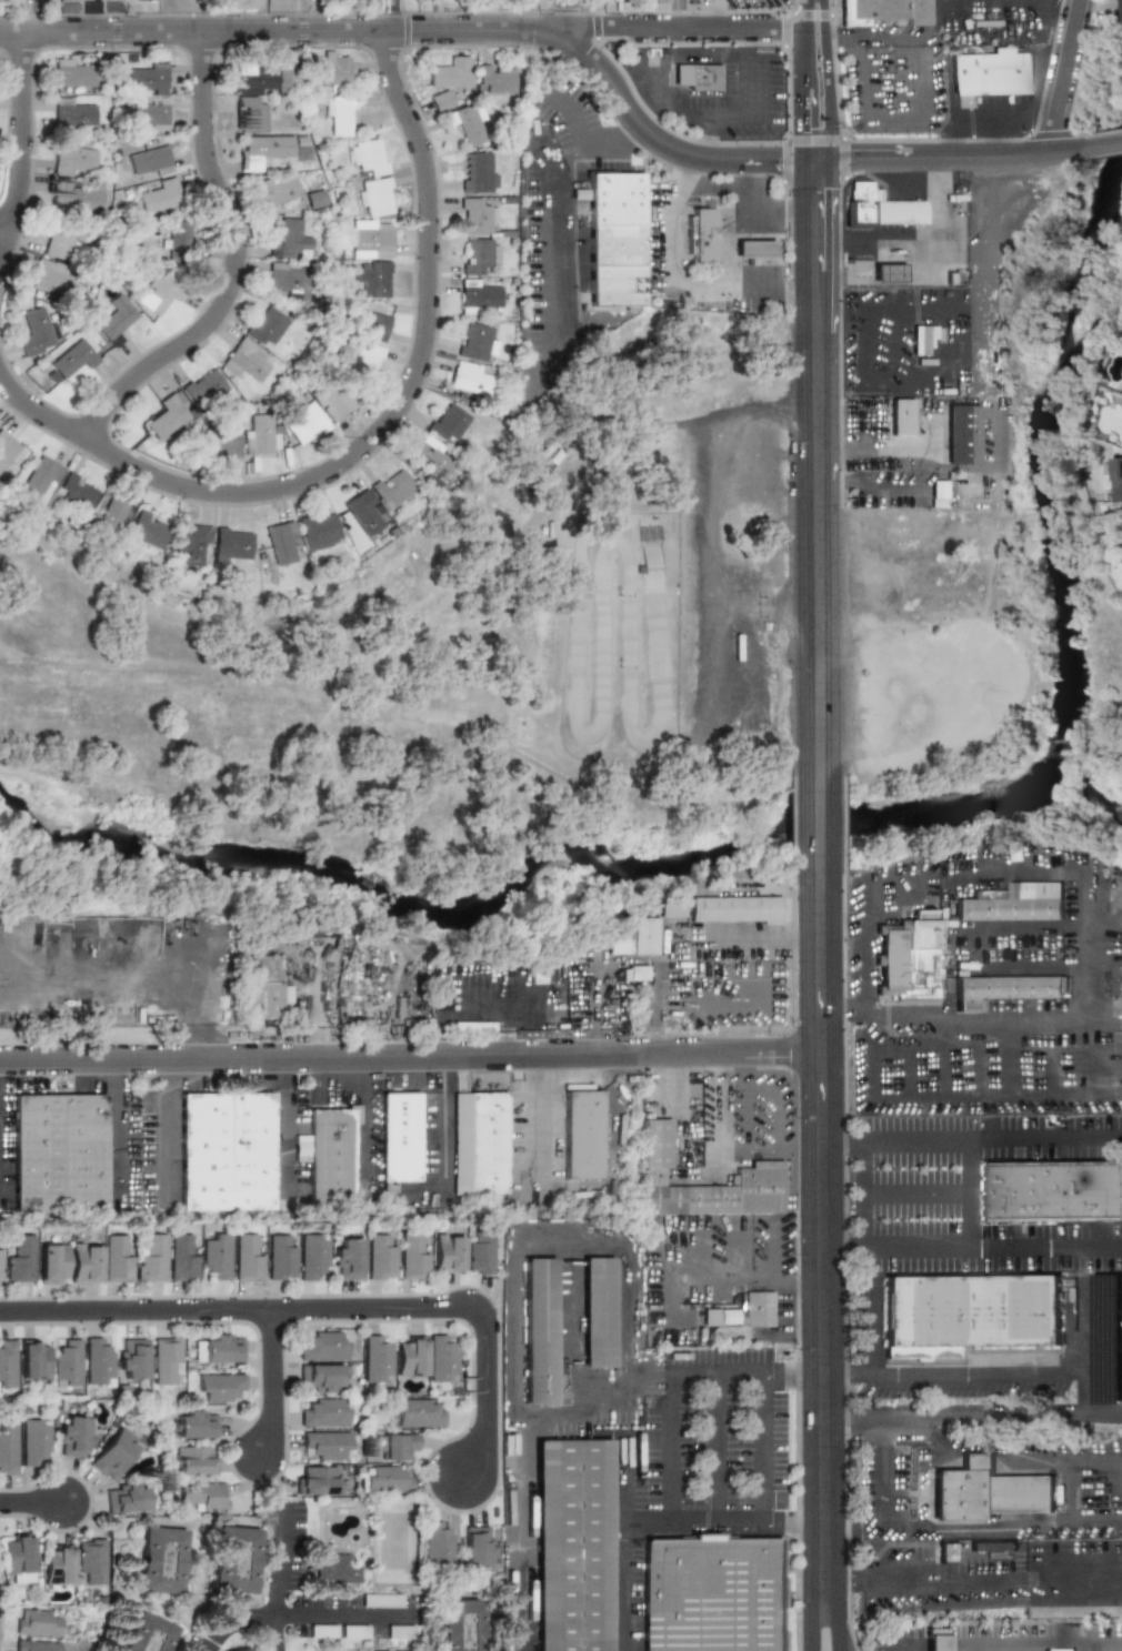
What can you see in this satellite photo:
building: (72, 0)
building: (108, 0)
building: (661, 0)
building: (633, 2)
building: (242, 3)
road: (941, 4)
road: (1063, 7)
road: (996, 8)
building: (884, 12)
building: (1118, 13)
road: (569, 14)
road: (677, 14)
road: (393, 16)
road: (92, 17)
road: (401, 30)
building: (329, 72)
building: (450, 72)
building: (990, 72)
building: (72, 74)
building: (261, 77)
building: (697, 77)
road: (1061, 77)
building: (495, 78)
building: (147, 79)
road: (804, 80)
road: (827, 80)
road: (863, 89)
building: (440, 100)
road: (749, 104)
building: (72, 112)
road: (1002, 112)
building: (148, 113)
building: (339, 113)
building: (250, 114)
building: (468, 122)
traffic signals: (805, 128)
traffic signals: (830, 128)
road: (618, 134)
road: (22, 144)
road: (1104, 145)
building: (267, 150)
building: (367, 158)
traffic signals: (779, 160)
road: (799, 160)
traffic signals: (854, 160)
building: (74, 161)
building: (149, 162)
building: (478, 172)
building: (276, 190)
traffic signals: (818, 191)
building: (74, 194)
building: (160, 197)
building: (374, 198)
building: (313, 199)
building: (861, 202)
road: (752, 214)
building: (477, 217)
road: (3, 228)
building: (701, 235)
building: (371, 239)
building: (178, 240)
building: (614, 240)
building: (291, 241)
building: (56, 243)
road: (920, 244)
building: (753, 249)
building: (479, 255)
road: (233, 262)
building: (888, 273)
building: (49, 276)
building: (373, 279)
building: (288, 281)
road: (675, 284)
building: (159, 292)
building: (481, 296)
road: (918, 312)
road: (425, 316)
building: (114, 320)
building: (372, 322)
building: (266, 325)
building: (37, 332)
building: (925, 338)
building: (478, 342)
building: (72, 358)
building: (364, 359)
building: (247, 360)
building: (469, 377)
building: (202, 386)
building: (332, 397)
building: (168, 415)
building: (901, 416)
building: (303, 423)
building: (445, 423)
building: (1120, 425)
building: (963, 434)
building: (260, 436)
building: (219, 441)
road: (108, 447)
building: (9, 450)
building: (430, 456)
road: (930, 464)
road: (817, 467)
building: (43, 474)
building: (1114, 476)
building: (390, 489)
building: (77, 491)
building: (939, 493)
building: (359, 513)
building: (114, 516)
road: (705, 517)
building: (878, 525)
building: (149, 530)
building: (317, 531)
road: (932, 534)
building: (281, 542)
building: (231, 543)
building: (192, 544)
road: (762, 606)
track: (642, 641)
road: (34, 664)
park: (183, 675)
road: (818, 824)
river: (829, 827)
road: (1119, 892)
building: (1018, 904)
building: (669, 910)
building: (739, 912)
road: (843, 917)
road: (767, 936)
building: (648, 939)
building: (615, 943)
road: (1086, 944)
building: (910, 960)
building: (637, 973)
building: (1121, 980)
building: (1002, 991)
road: (653, 1009)
road: (988, 1018)
building: (477, 1026)
road: (869, 1040)
road: (410, 1055)
road: (1008, 1059)
road: (674, 1083)
road: (216, 1085)
road: (770, 1089)
road: (717, 1109)
road: (542, 1116)
road: (745, 1117)
road: (362, 1118)
road: (288, 1125)
road: (1, 1131)
road: (122, 1131)
building: (583, 1135)
building: (400, 1137)
road: (992, 1138)
road: (842, 1139)
road: (440, 1141)
building: (479, 1142)
road: (748, 1146)
road: (800, 1146)
building: (300, 1147)
road: (170, 1148)
building: (59, 1154)
building: (227, 1154)
building: (331, 1160)
building: (768, 1165)
road: (862, 1192)
road: (969, 1192)
road: (915, 1196)
building: (1050, 1196)
road: (822, 1232)
road: (845, 1247)
road: (995, 1247)
road: (631, 1249)
building: (478, 1251)
building: (445, 1252)
building: (214, 1255)
building: (311, 1256)
building: (149, 1257)
building: (180, 1257)
building: (246, 1257)
building: (278, 1257)
building: (379, 1257)
building: (114, 1258)
building: (345, 1258)
building: (411, 1258)
building: (18, 1259)
building: (83, 1262)
building: (50, 1264)
road: (731, 1269)
road: (772, 1275)
road: (678, 1281)
road: (674, 1309)
road: (232, 1310)
road: (871, 1310)
building: (599, 1311)
building: (743, 1311)
building: (970, 1317)
building: (541, 1330)
building: (323, 1346)
building: (222, 1348)
building: (410, 1357)
building: (164, 1358)
building: (375, 1358)
building: (33, 1359)
building: (441, 1359)
building: (131, 1361)
building: (97, 1362)
building: (7, 1363)
building: (66, 1363)
road: (848, 1373)
road: (727, 1375)
road: (1018, 1375)
building: (321, 1378)
road: (273, 1383)
road: (1084, 1383)
building: (218, 1387)
road: (487, 1389)
building: (324, 1411)
road: (580, 1411)
building: (418, 1412)
road: (984, 1417)
road: (835, 1420)
building: (196, 1425)
building: (69, 1436)
road: (519, 1441)
building: (33, 1442)
building: (325, 1444)
building: (392, 1446)
road: (673, 1448)
building: (7, 1449)
road: (720, 1449)
road: (761, 1449)
building: (111, 1452)
road: (1012, 1454)
road: (624, 1456)
building: (192, 1460)
road: (882, 1476)
building: (384, 1479)
building: (314, 1480)
road: (1070, 1488)
building: (200, 1496)
building: (123, 1497)
building: (983, 1497)
road: (32, 1503)
road: (723, 1523)
road: (1006, 1531)
park: (391, 1538)
building: (571, 1546)
building: (992, 1546)
building: (435, 1547)
building: (477, 1547)
building: (948, 1557)
building: (229, 1558)
building: (19, 1559)
building: (89, 1561)
building: (156, 1561)
road: (276, 1561)
road: (898, 1562)
building: (56, 1564)
building: (332, 1569)
road: (1059, 1574)
road: (851, 1581)
road: (625, 1587)
road: (952, 1591)
building: (715, 1595)
building: (380, 1600)
road: (300, 1617)
building: (36, 1622)
road: (812, 1622)
road: (834, 1622)
building: (461, 1630)
building: (399, 1631)
road: (273, 1633)
building: (141, 1634)
building: (935, 1639)
road: (1040, 1639)
road: (1092, 1644)
building: (34, 1645)
road: (900, 1647)
building: (238, 1650)
building: (1060, 1650)

